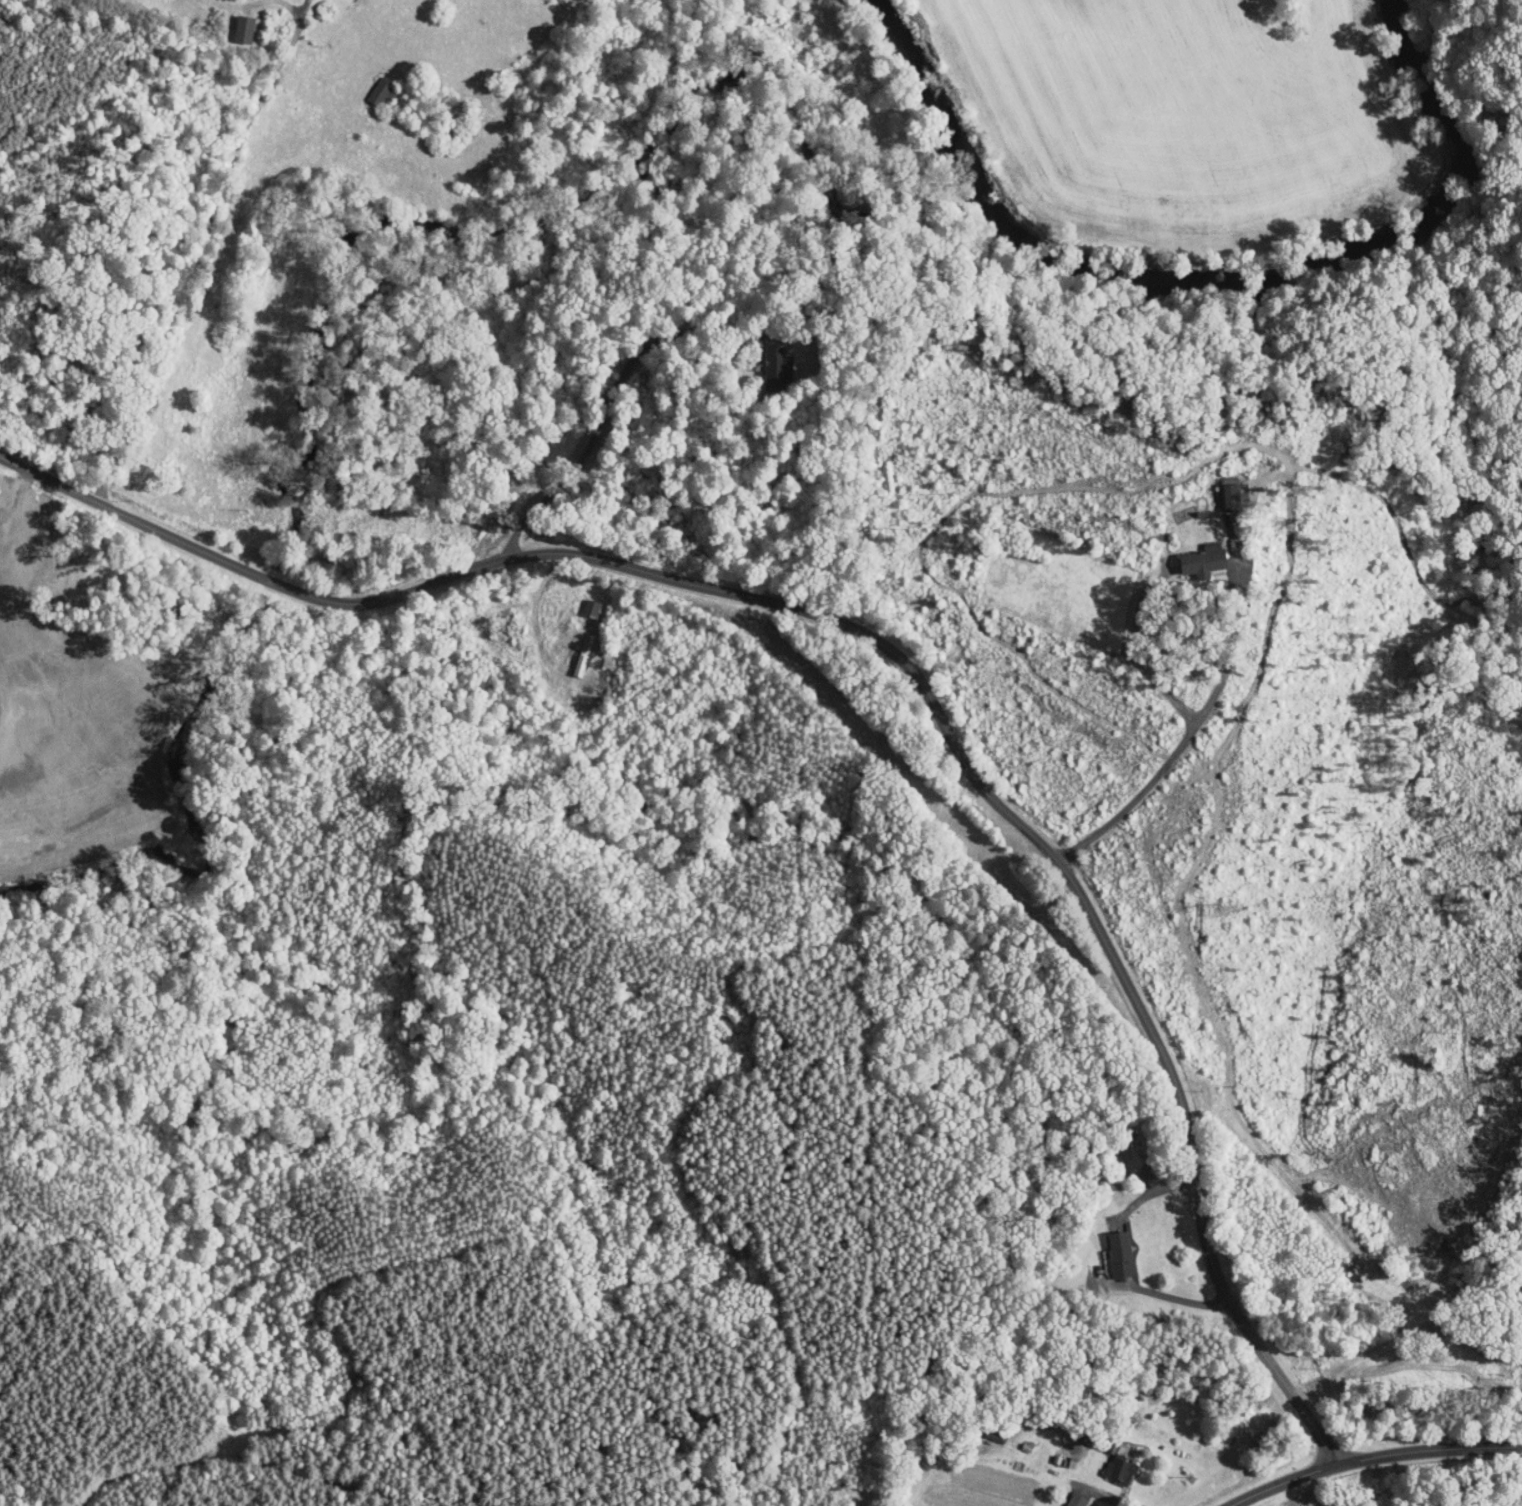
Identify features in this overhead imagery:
building: (231, 23)
building: (366, 87)
river: (926, 106)
river: (1319, 251)
road: (216, 252)
building: (760, 363)
road: (611, 393)
building: (1218, 488)
building: (1189, 554)
building: (578, 602)
road: (521, 613)
road: (898, 646)
building: (571, 648)
road: (1136, 661)
road: (1193, 730)
building: (1106, 1249)
building: (981, 1429)
road: (1433, 1449)
building: (1106, 1464)
road: (1287, 1480)
building: (1062, 1497)

